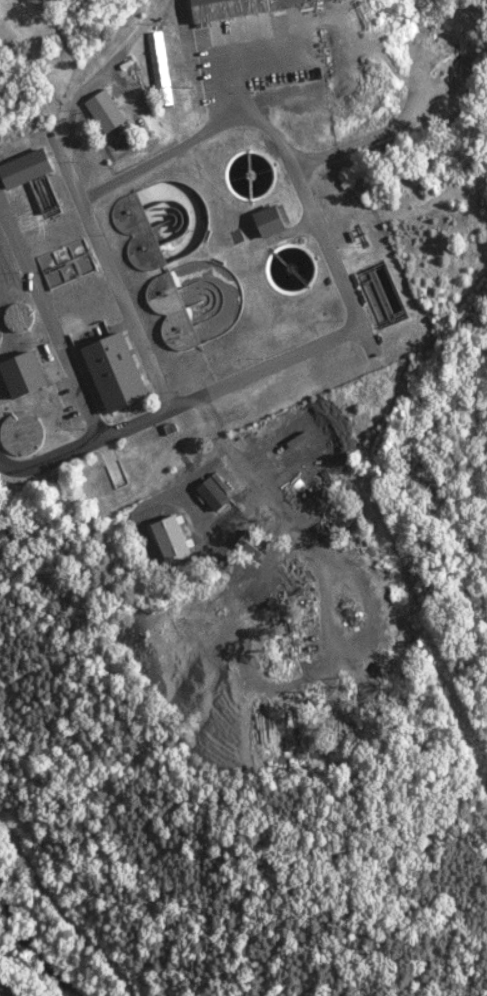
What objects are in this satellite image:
road: (232, 55)
building: (162, 67)
building: (108, 110)
road: (258, 115)
building: (30, 167)
building: (46, 196)
building: (275, 220)
building: (20, 316)
road: (48, 327)
building: (119, 371)
building: (27, 374)
building: (19, 433)
road: (86, 443)
building: (217, 491)
building: (251, 541)
road: (65, 910)
road: (0, 995)

